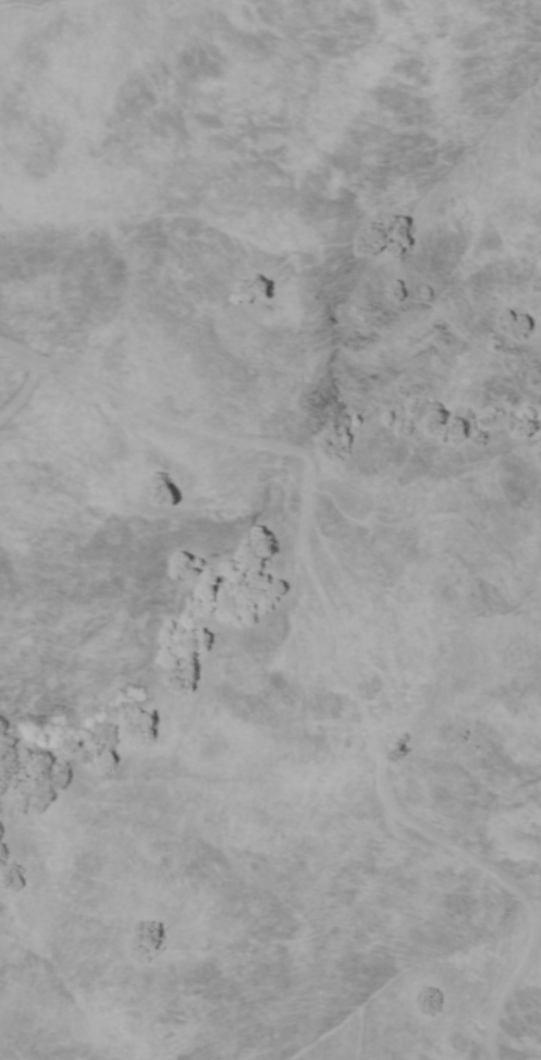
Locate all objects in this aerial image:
road: (15, 348)
road: (23, 388)
road: (342, 648)

